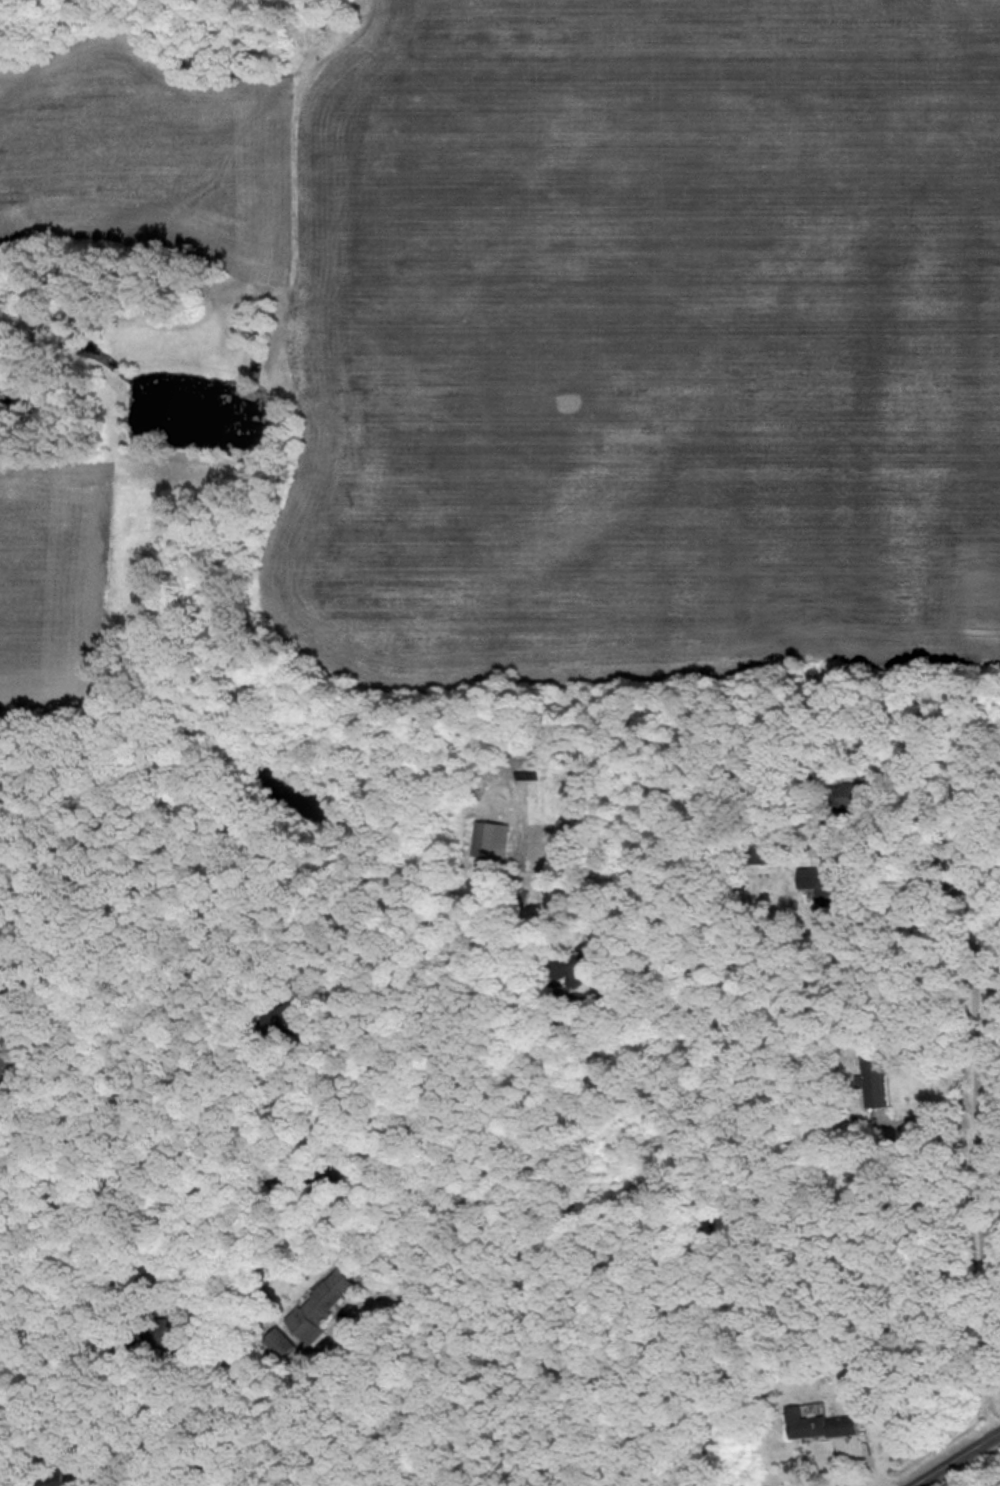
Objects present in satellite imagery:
building: (845, 796)
road: (913, 851)
building: (761, 853)
building: (822, 893)
building: (871, 1079)
road: (930, 1111)
road: (988, 1151)
road: (711, 1216)
road: (425, 1289)
building: (318, 1306)
road: (116, 1419)
building: (817, 1424)
road: (959, 1459)
building: (51, 1482)

